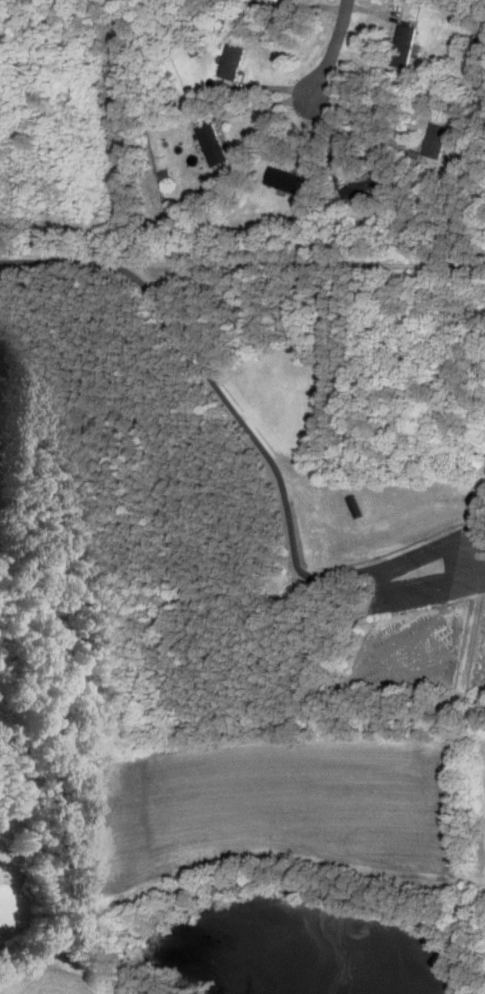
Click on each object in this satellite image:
building: (402, 44)
road: (335, 48)
building: (231, 61)
building: (435, 140)
building: (212, 144)
building: (289, 182)
building: (362, 187)
road: (218, 396)
road: (455, 575)

